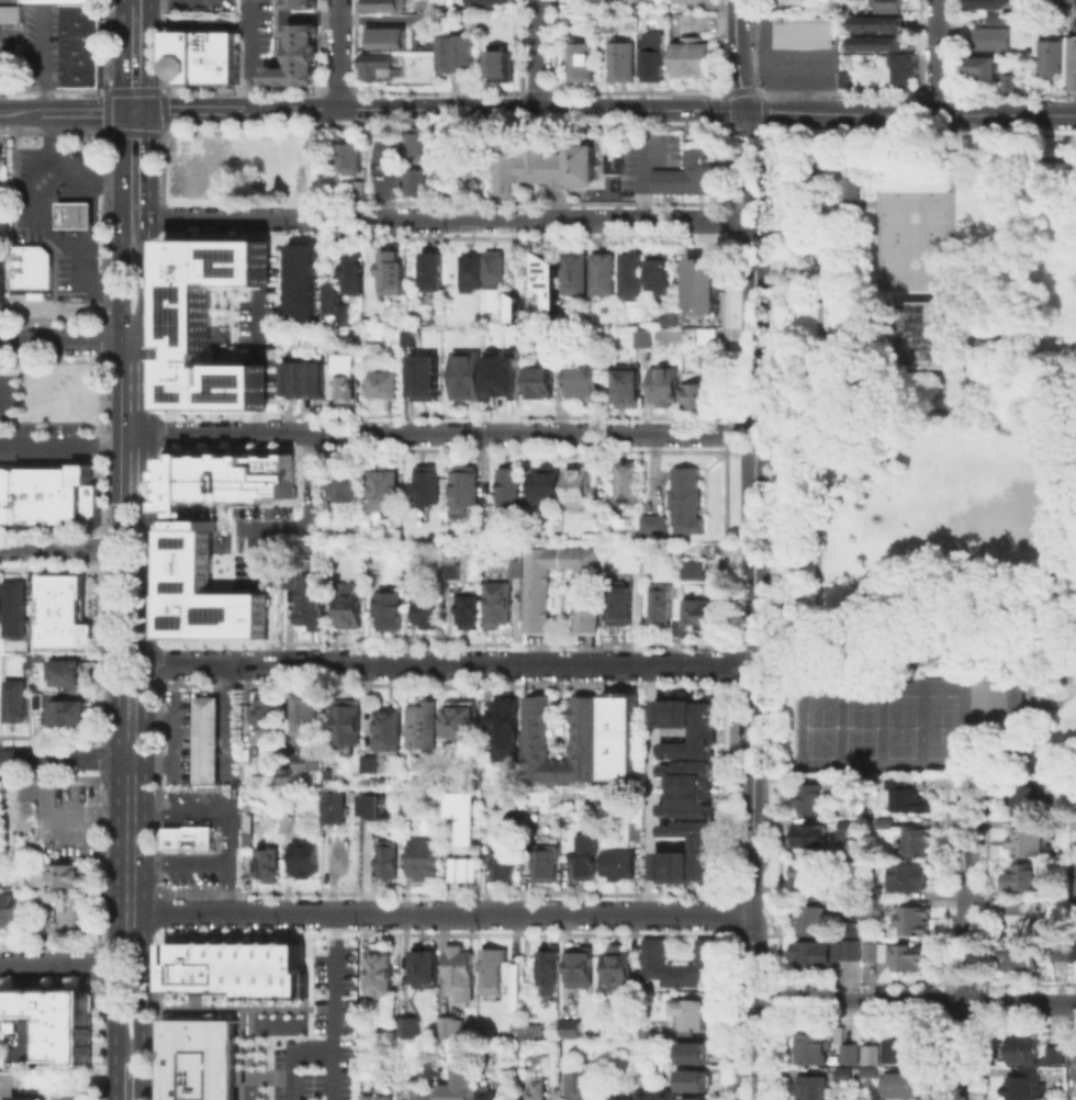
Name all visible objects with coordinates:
building: (676, 0)
building: (787, 0)
building: (59, 1)
road: (121, 1)
building: (300, 2)
building: (483, 2)
building: (591, 2)
building: (983, 3)
building: (380, 4)
building: (884, 5)
building: (812, 8)
building: (8, 11)
building: (78, 13)
building: (604, 23)
building: (874, 23)
building: (800, 31)
building: (78, 34)
building: (383, 35)
building: (988, 36)
building: (875, 42)
parking lot: (40, 45)
building: (78, 49)
building: (456, 52)
road: (147, 54)
building: (292, 54)
road: (338, 54)
road: (535, 54)
building: (692, 54)
building: (182, 55)
road: (735, 55)
building: (1050, 55)
road: (120, 56)
building: (215, 56)
building: (651, 56)
road: (935, 56)
building: (9, 59)
building: (618, 59)
building: (78, 60)
parking lot: (789, 60)
building: (1071, 60)
building: (497, 63)
building: (580, 63)
building: (978, 65)
building: (378, 66)
building: (900, 69)
building: (78, 76)
building: (1006, 81)
road: (195, 109)
road: (494, 109)
road: (133, 110)
traffic signals: (147, 110)
traffic signals: (743, 110)
traffic signals: (120, 111)
road: (21, 112)
road: (80, 112)
road: (909, 113)
road: (764, 122)
road: (755, 132)
building: (414, 144)
building: (352, 158)
road: (942, 158)
road: (147, 162)
building: (542, 166)
road: (66, 167)
building: (690, 178)
road: (843, 182)
building: (417, 183)
building: (853, 188)
building: (359, 191)
parking lot: (23, 197)
road: (34, 199)
road: (873, 204)
building: (72, 213)
gas station: (72, 213)
road: (236, 216)
road: (539, 218)
road: (120, 226)
park: (911, 242)
road: (72, 247)
building: (29, 265)
road: (752, 265)
road: (819, 268)
building: (495, 269)
parking lot: (59, 272)
building: (472, 272)
building: (573, 272)
building: (434, 273)
building: (661, 273)
building: (604, 274)
building: (357, 276)
building: (393, 276)
building: (545, 277)
building: (632, 277)
road: (146, 279)
building: (1, 281)
building: (302, 282)
building: (699, 284)
building: (336, 302)
building: (671, 316)
building: (208, 323)
building: (928, 332)
park: (928, 332)
building: (413, 337)
building: (647, 337)
building: (710, 338)
road: (66, 339)
building: (551, 343)
road: (850, 363)
building: (464, 373)
building: (500, 373)
building: (428, 374)
building: (348, 379)
building: (309, 381)
building: (585, 382)
building: (541, 384)
road: (132, 386)
building: (385, 386)
building: (630, 389)
building: (666, 389)
road: (898, 395)
building: (703, 397)
road: (774, 417)
road: (434, 434)
road: (765, 435)
road: (128, 438)
road: (1073, 441)
road: (64, 446)
park: (930, 456)
road: (1069, 457)
road: (1073, 468)
building: (630, 483)
building: (220, 484)
building: (345, 485)
building: (428, 486)
building: (547, 486)
building: (579, 489)
building: (464, 490)
building: (509, 491)
building: (385, 492)
building: (46, 494)
road: (119, 494)
building: (688, 502)
road: (1071, 509)
building: (654, 526)
road: (131, 527)
road: (59, 547)
road: (819, 549)
road: (1072, 557)
building: (515, 570)
building: (451, 571)
building: (696, 571)
road: (145, 576)
building: (198, 593)
road: (1050, 594)
building: (309, 595)
building: (539, 600)
building: (0, 602)
building: (15, 604)
building: (501, 604)
building: (351, 606)
building: (663, 606)
building: (470, 608)
building: (623, 609)
building: (67, 611)
building: (390, 613)
building: (428, 614)
building: (700, 616)
building: (679, 628)
fountain: (990, 629)
road: (1022, 633)
road: (117, 635)
building: (31, 664)
road: (448, 664)
road: (864, 665)
building: (69, 675)
building: (1011, 700)
building: (42, 703)
building: (18, 704)
road: (971, 711)
building: (70, 712)
building: (270, 715)
building: (307, 715)
building: (463, 721)
building: (347, 725)
building: (423, 727)
road: (751, 727)
park: (875, 727)
building: (389, 730)
building: (539, 730)
building: (507, 733)
building: (623, 739)
building: (205, 743)
road: (65, 756)
building: (370, 766)
building: (298, 767)
building: (239, 772)
building: (1062, 785)
building: (848, 786)
road: (649, 789)
building: (685, 790)
building: (809, 798)
building: (908, 799)
building: (1027, 802)
building: (380, 806)
building: (336, 809)
building: (462, 812)
road: (130, 816)
building: (887, 824)
building: (288, 827)
building: (848, 828)
road: (51, 831)
building: (637, 831)
building: (809, 839)
road: (228, 840)
building: (189, 841)
building: (1027, 842)
building: (249, 843)
building: (919, 843)
building: (590, 857)
building: (424, 858)
building: (305, 861)
building: (390, 861)
building: (268, 865)
building: (507, 866)
building: (548, 866)
building: (620, 866)
building: (462, 867)
building: (815, 878)
building: (910, 878)
building: (1023, 878)
building: (59, 879)
road: (228, 887)
building: (1049, 890)
building: (878, 891)
building: (11, 911)
building: (878, 911)
road: (439, 913)
building: (1025, 916)
building: (811, 922)
building: (915, 922)
road: (964, 942)
building: (1074, 952)
building: (826, 954)
building: (1058, 954)
building: (903, 957)
building: (1020, 957)
road: (57, 963)
building: (423, 965)
building: (682, 965)
building: (618, 967)
building: (551, 968)
building: (581, 968)
building: (494, 972)
building: (381, 973)
building: (462, 975)
building: (240, 976)
road: (114, 984)
road: (330, 985)
road: (912, 1003)
road: (142, 1004)
building: (695, 1015)
building: (60, 1023)
building: (407, 1026)
building: (455, 1029)
building: (529, 1030)
building: (573, 1030)
parking lot: (321, 1033)
building: (895, 1045)
building: (1022, 1048)
building: (815, 1051)
road: (750, 1052)
building: (871, 1052)
building: (699, 1053)
building: (1055, 1053)
building: (1072, 1054)
building: (852, 1055)
road: (288, 1057)
building: (201, 1062)
building: (872, 1077)
road: (329, 1078)
road: (114, 1079)
building: (700, 1080)
building: (461, 1084)
building: (1023, 1084)
building: (584, 1086)
building: (904, 1088)
road: (4, 1089)
building: (814, 1089)
building: (545, 1091)
building: (627, 1093)
building: (426, 1095)
building: (490, 1095)
building: (24, 1097)
building: (615, 1097)
building: (650, 1097)
building: (672, 1097)
building: (694, 1098)
building: (380, 1099)

